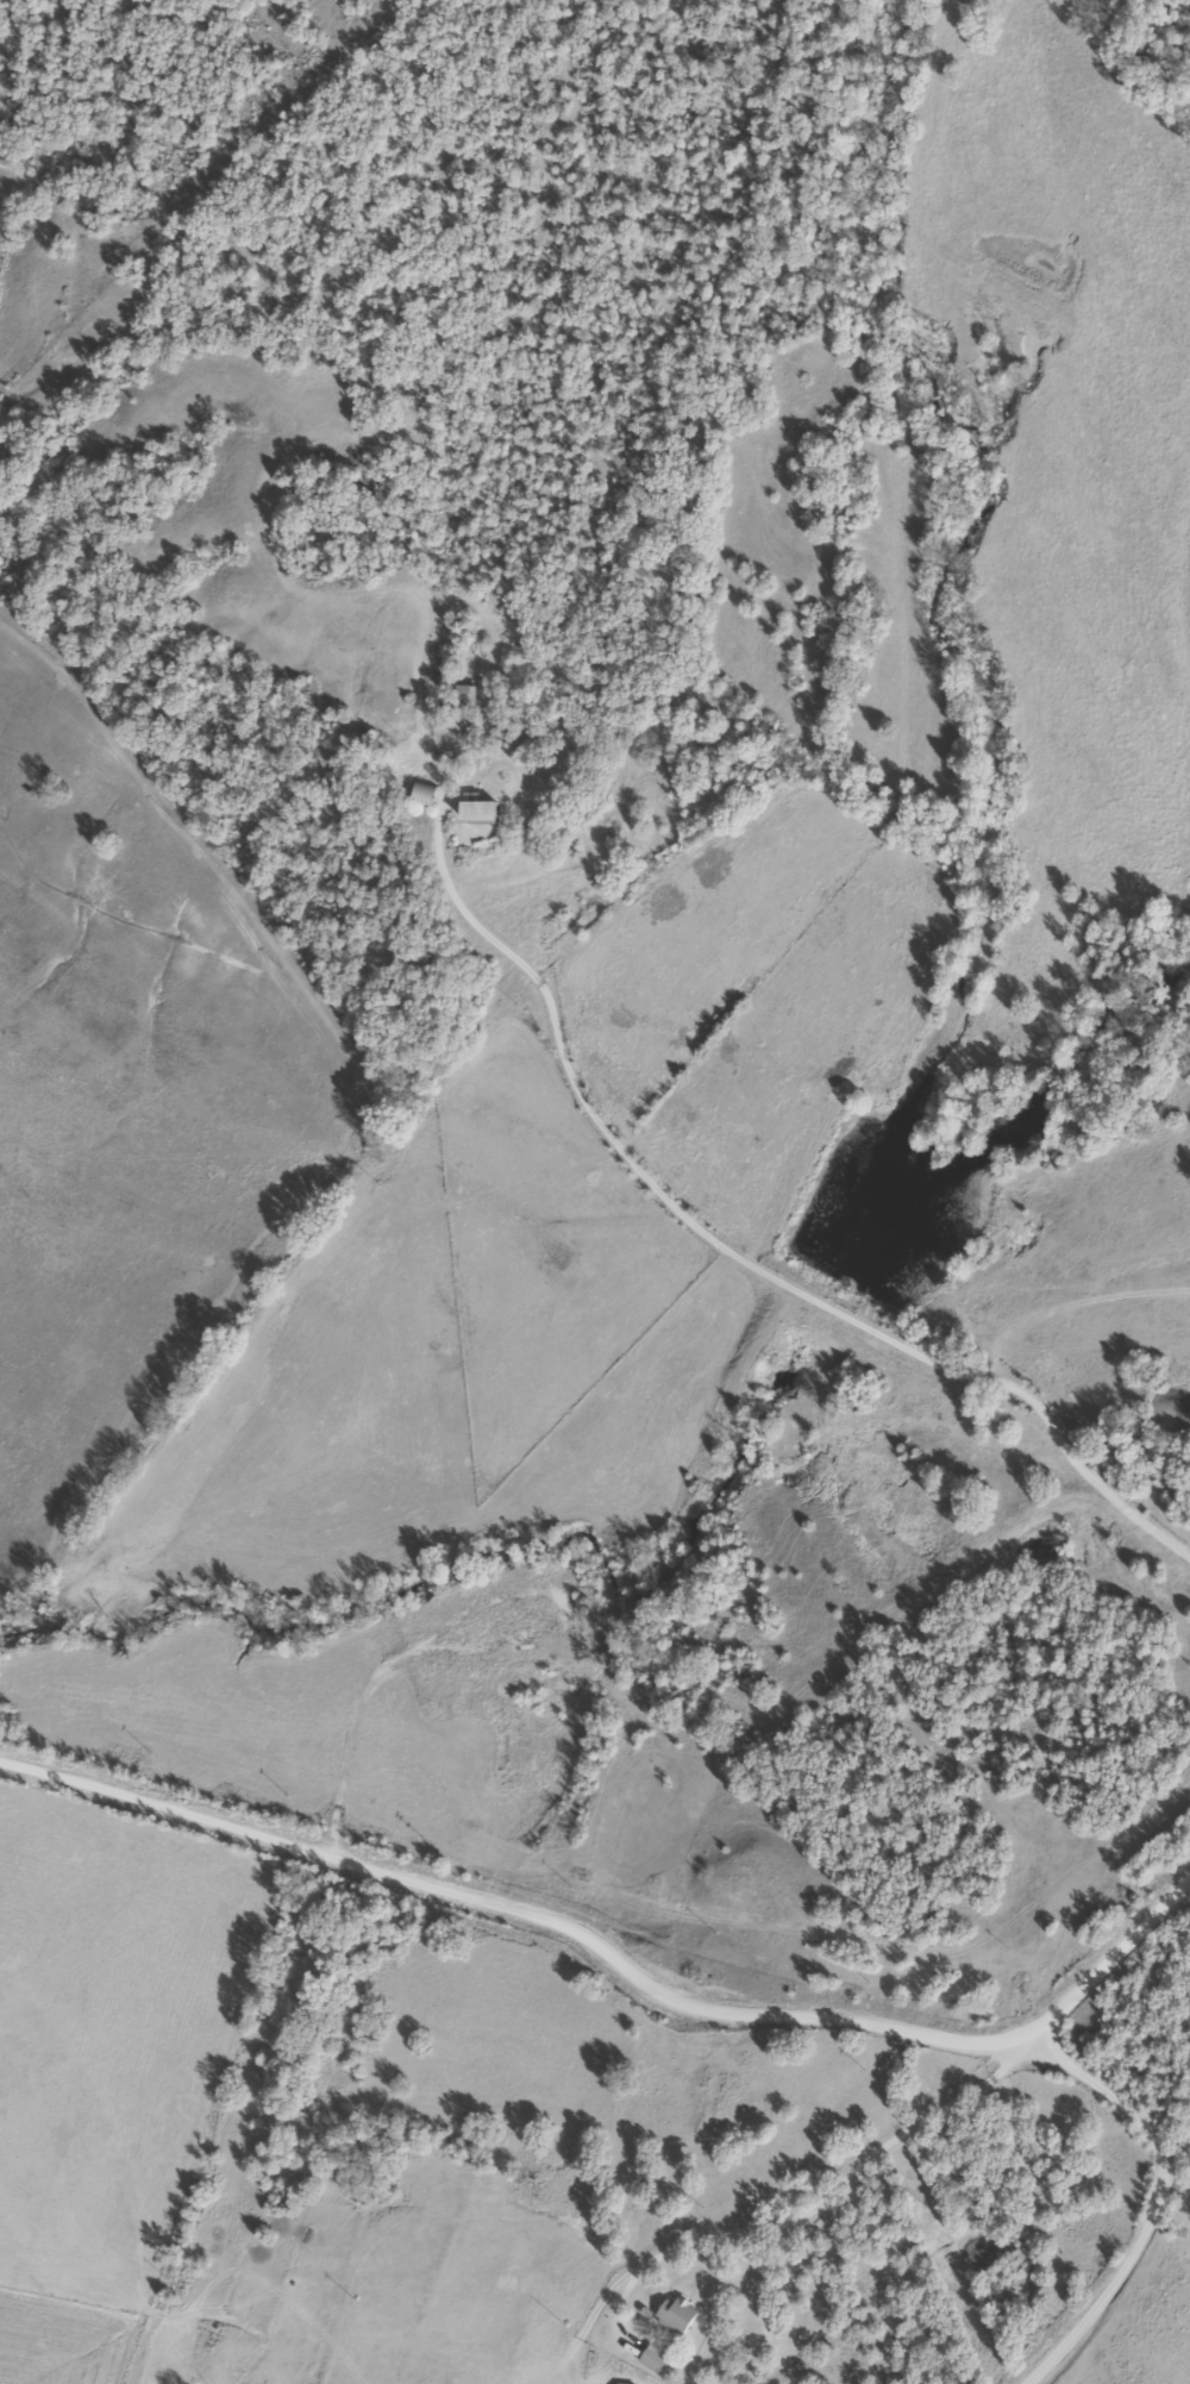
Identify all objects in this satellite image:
building: (471, 697)
building: (432, 796)
building: (494, 813)
road: (620, 1966)
road: (868, 2157)
road: (1138, 2201)
building: (671, 2316)
building: (651, 2359)

